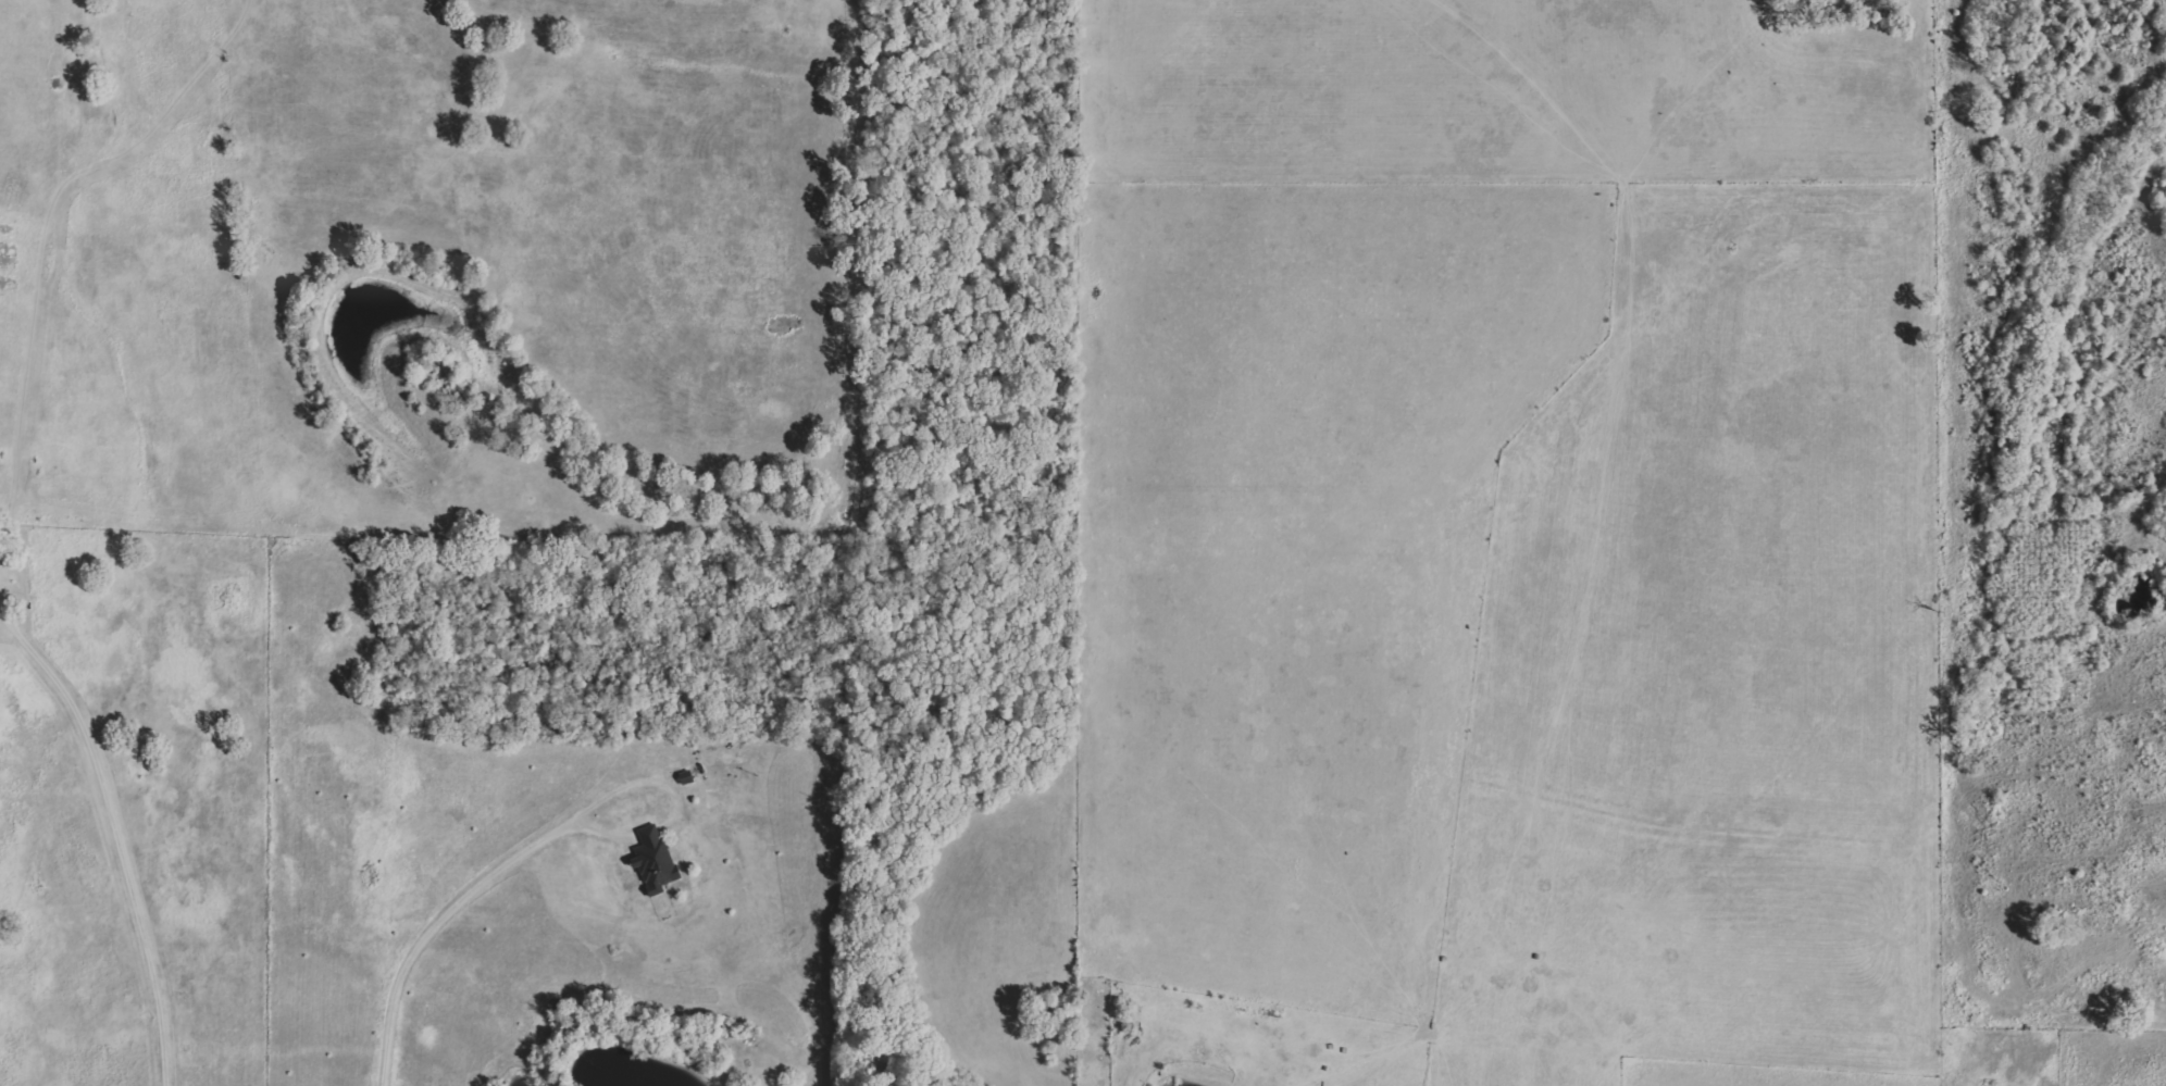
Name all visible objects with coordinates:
road: (112, 834)
building: (655, 859)
road: (436, 913)

